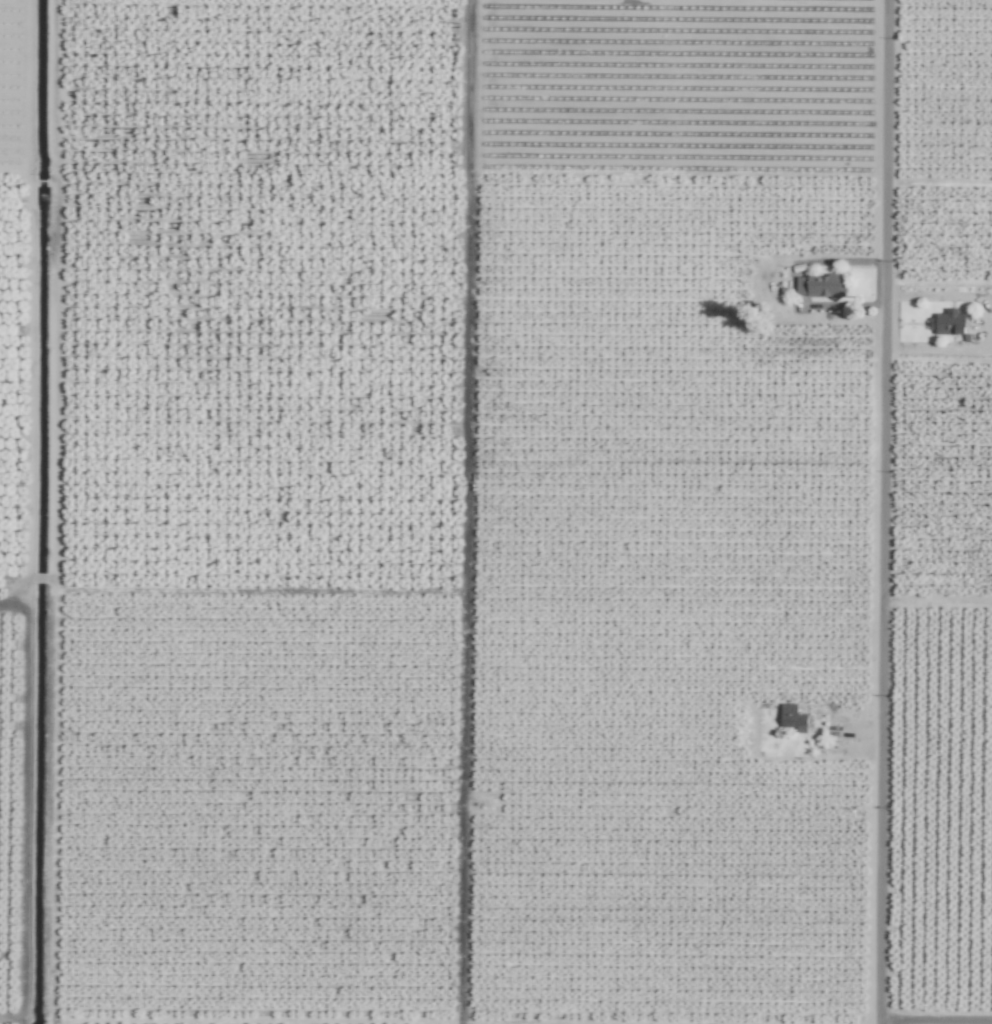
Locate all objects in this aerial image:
building: (819, 285)
building: (949, 322)
road: (876, 512)
building: (792, 718)
road: (931, 1023)

